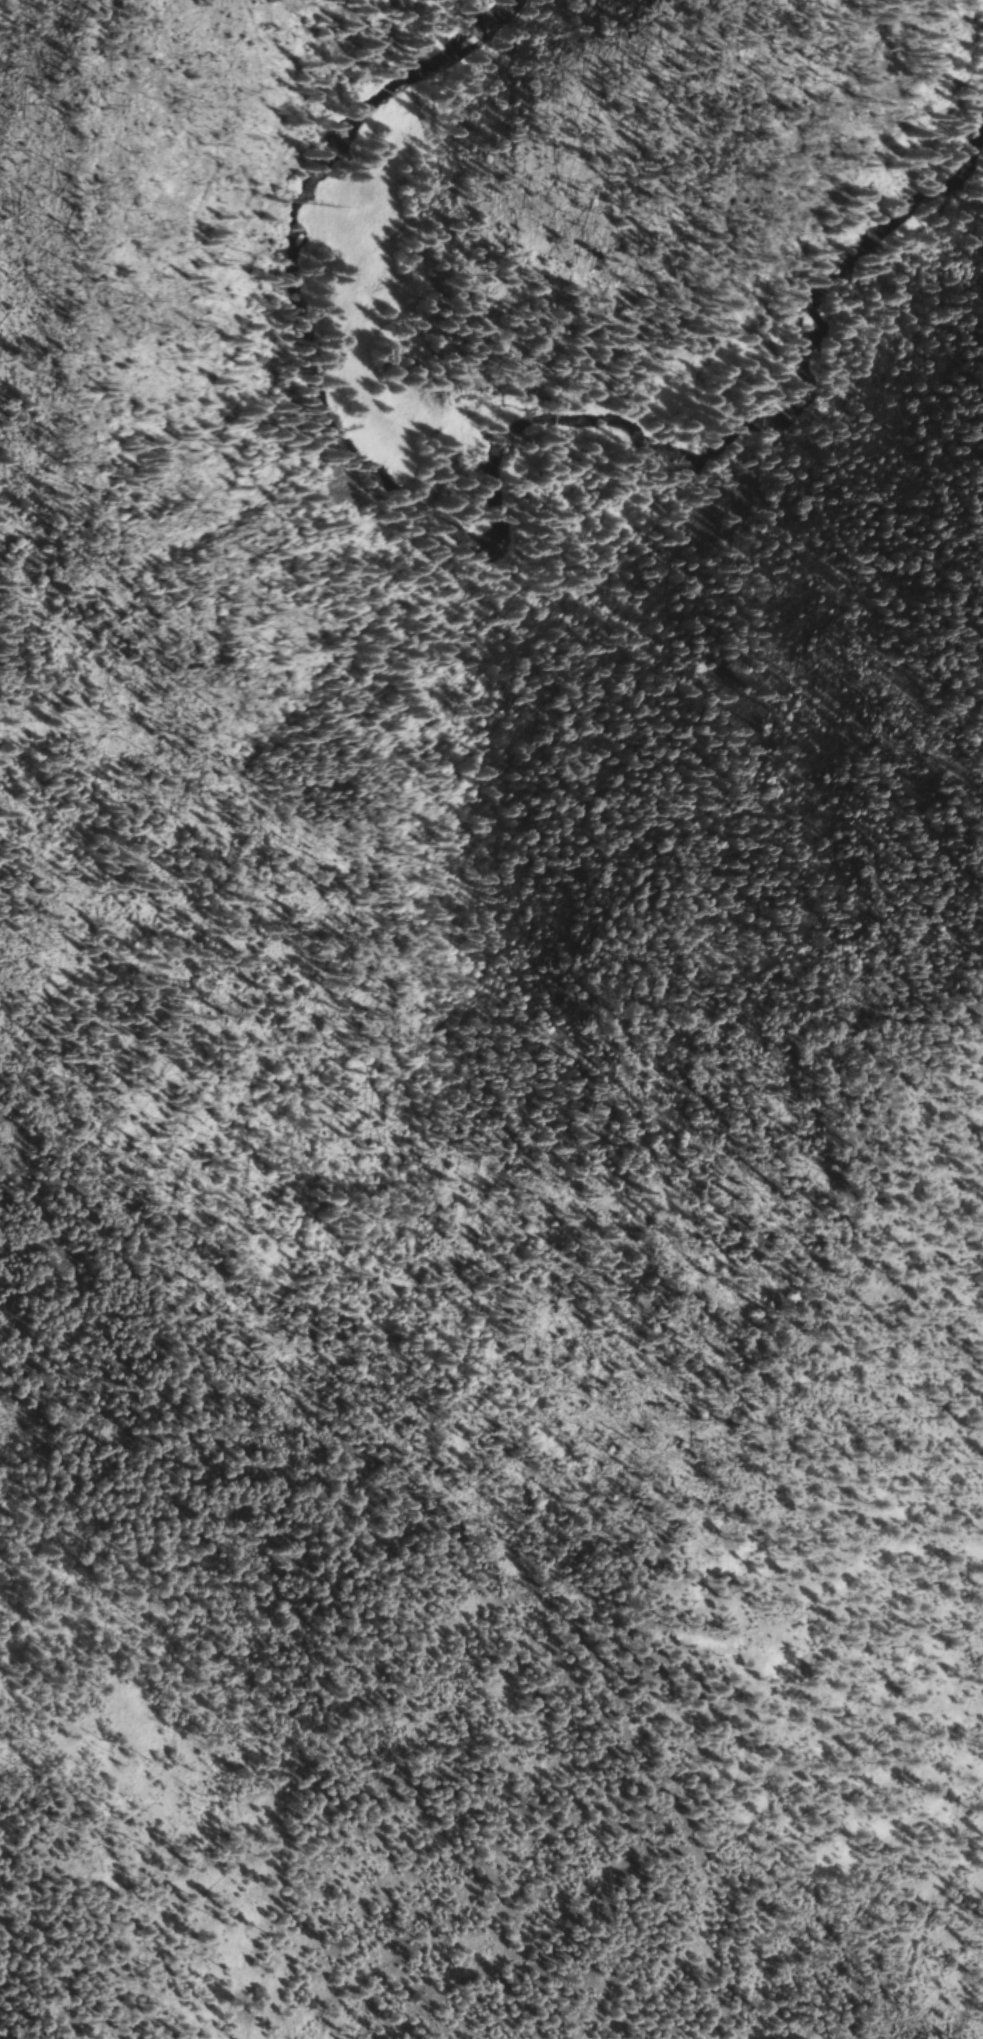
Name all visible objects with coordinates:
river: (499, 521)

